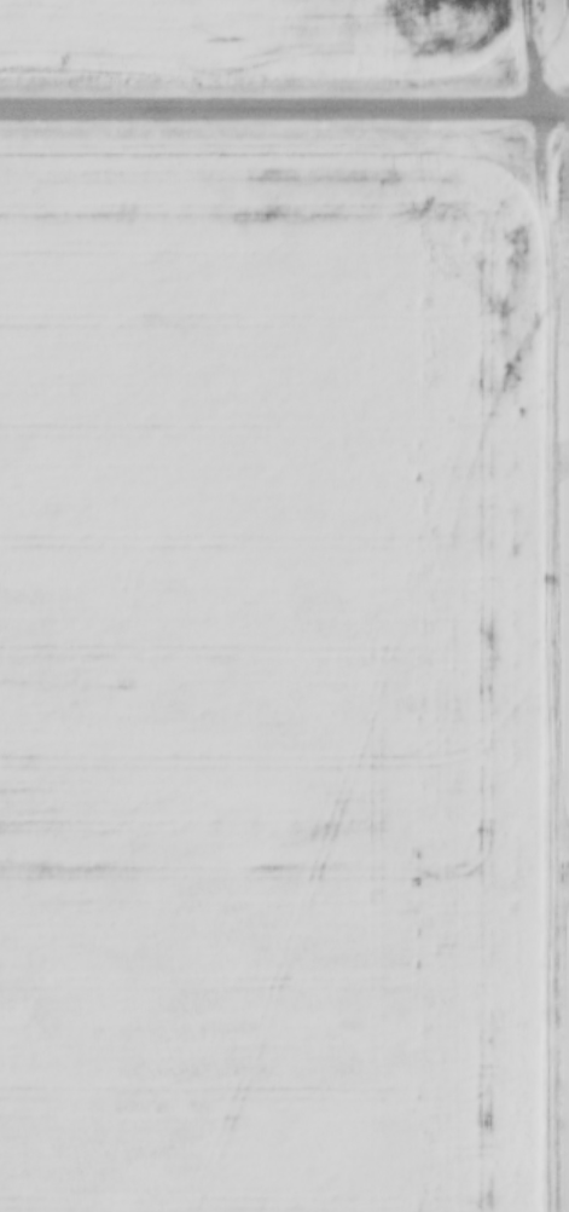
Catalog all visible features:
road: (268, 103)
road: (552, 104)
road: (546, 605)

